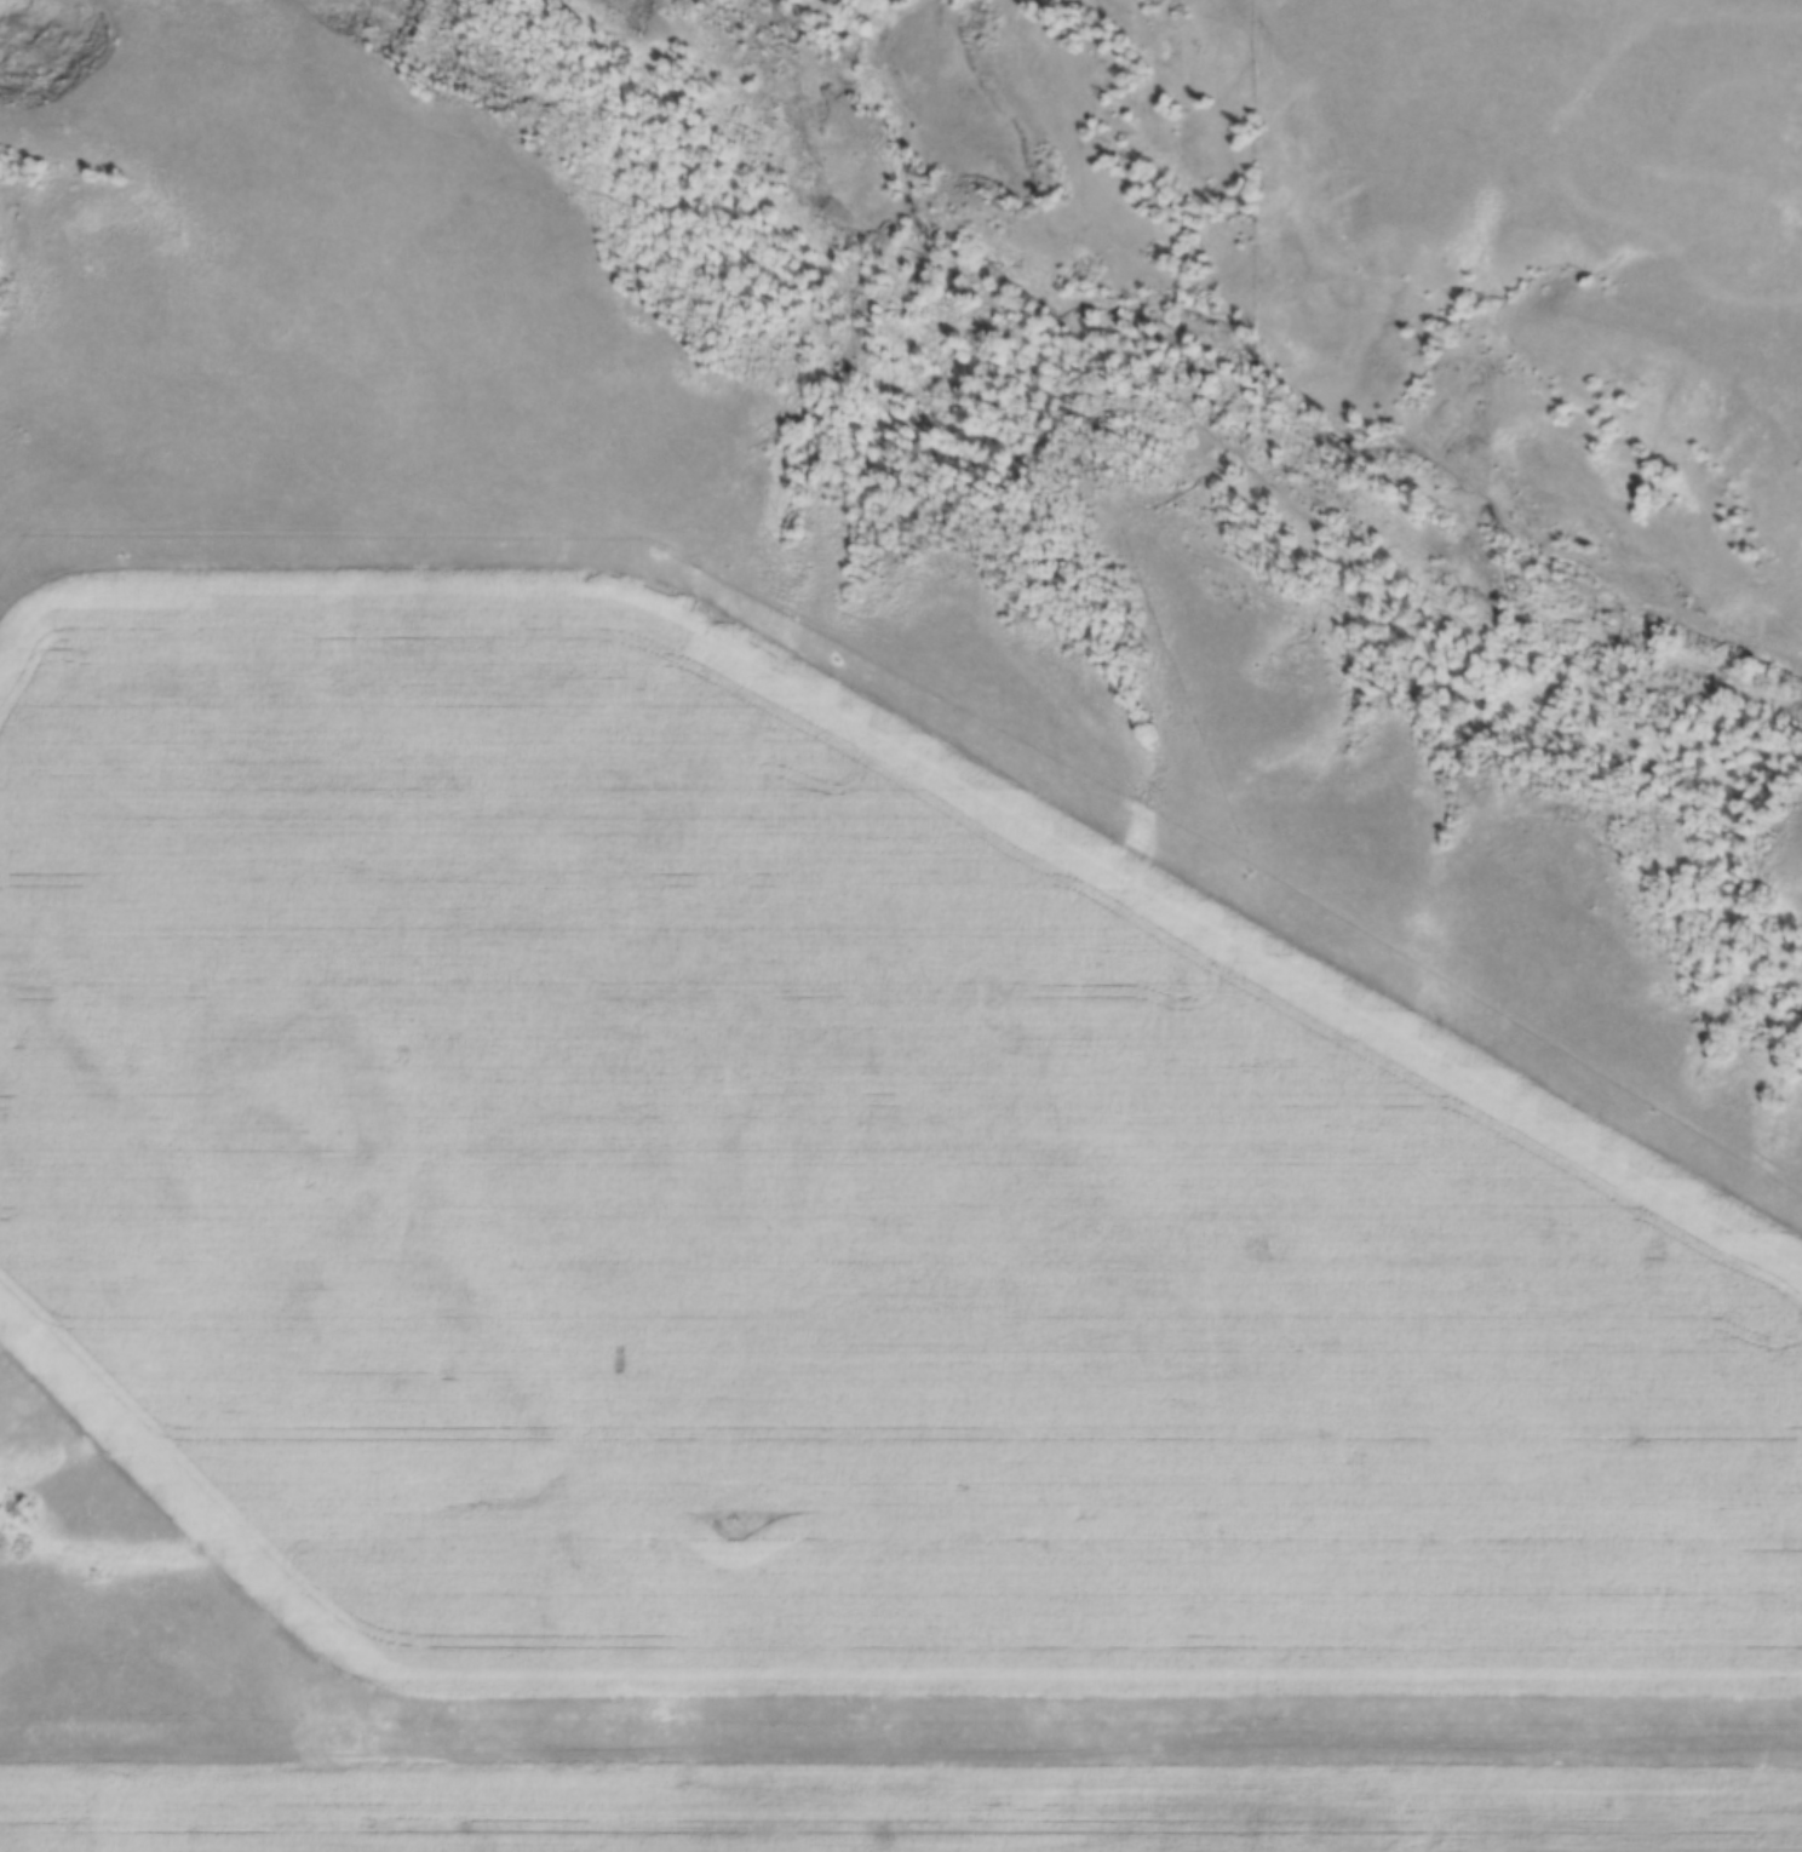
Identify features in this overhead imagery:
road: (902, 1741)

